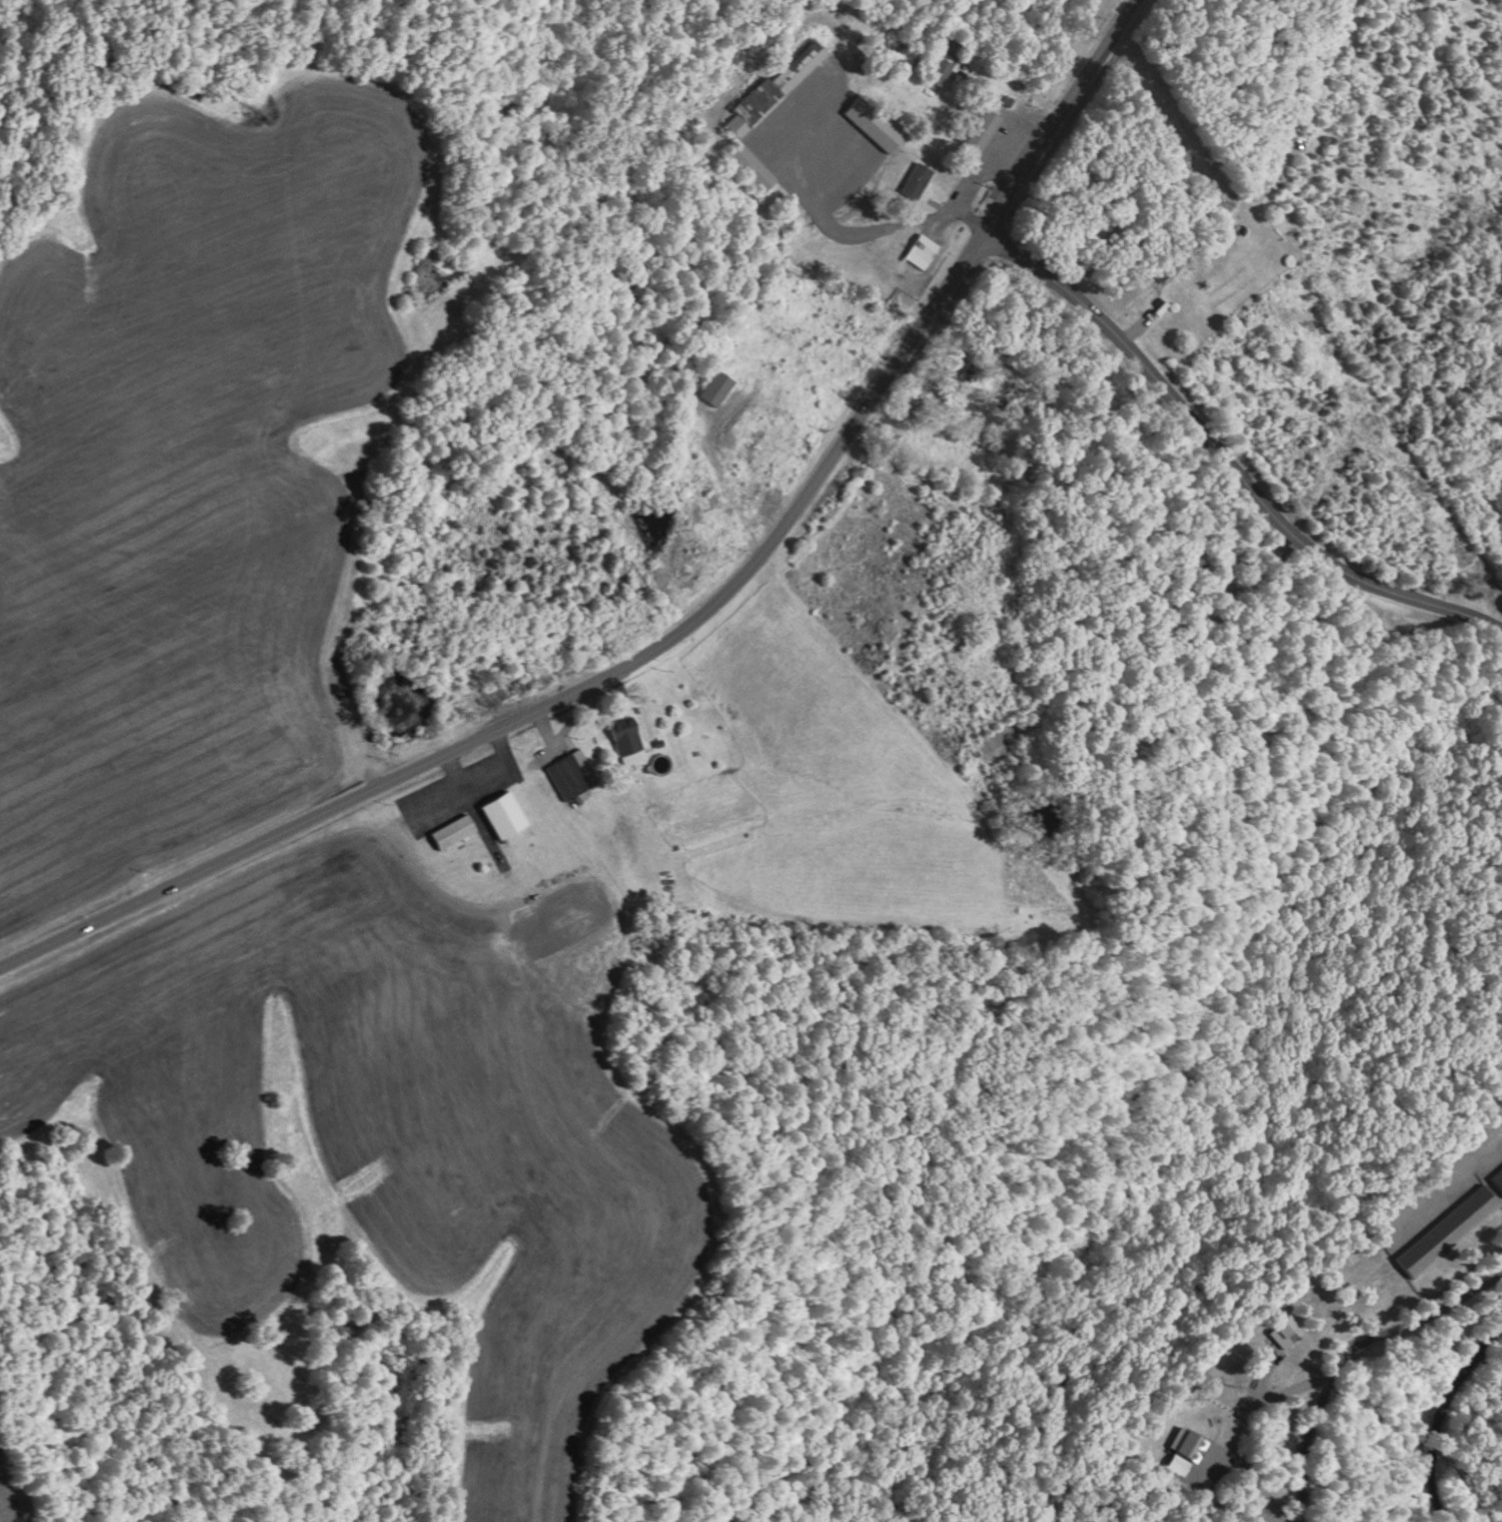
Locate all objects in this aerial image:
building: (943, 72)
building: (776, 89)
building: (878, 124)
building: (987, 130)
building: (753, 167)
building: (921, 181)
building: (924, 252)
building: (718, 389)
road: (1225, 461)
road: (690, 625)
building: (630, 744)
building: (574, 775)
building: (506, 816)
building: (455, 833)
building: (1499, 1176)
building: (1452, 1231)
building: (1288, 1332)
building: (1188, 1450)

